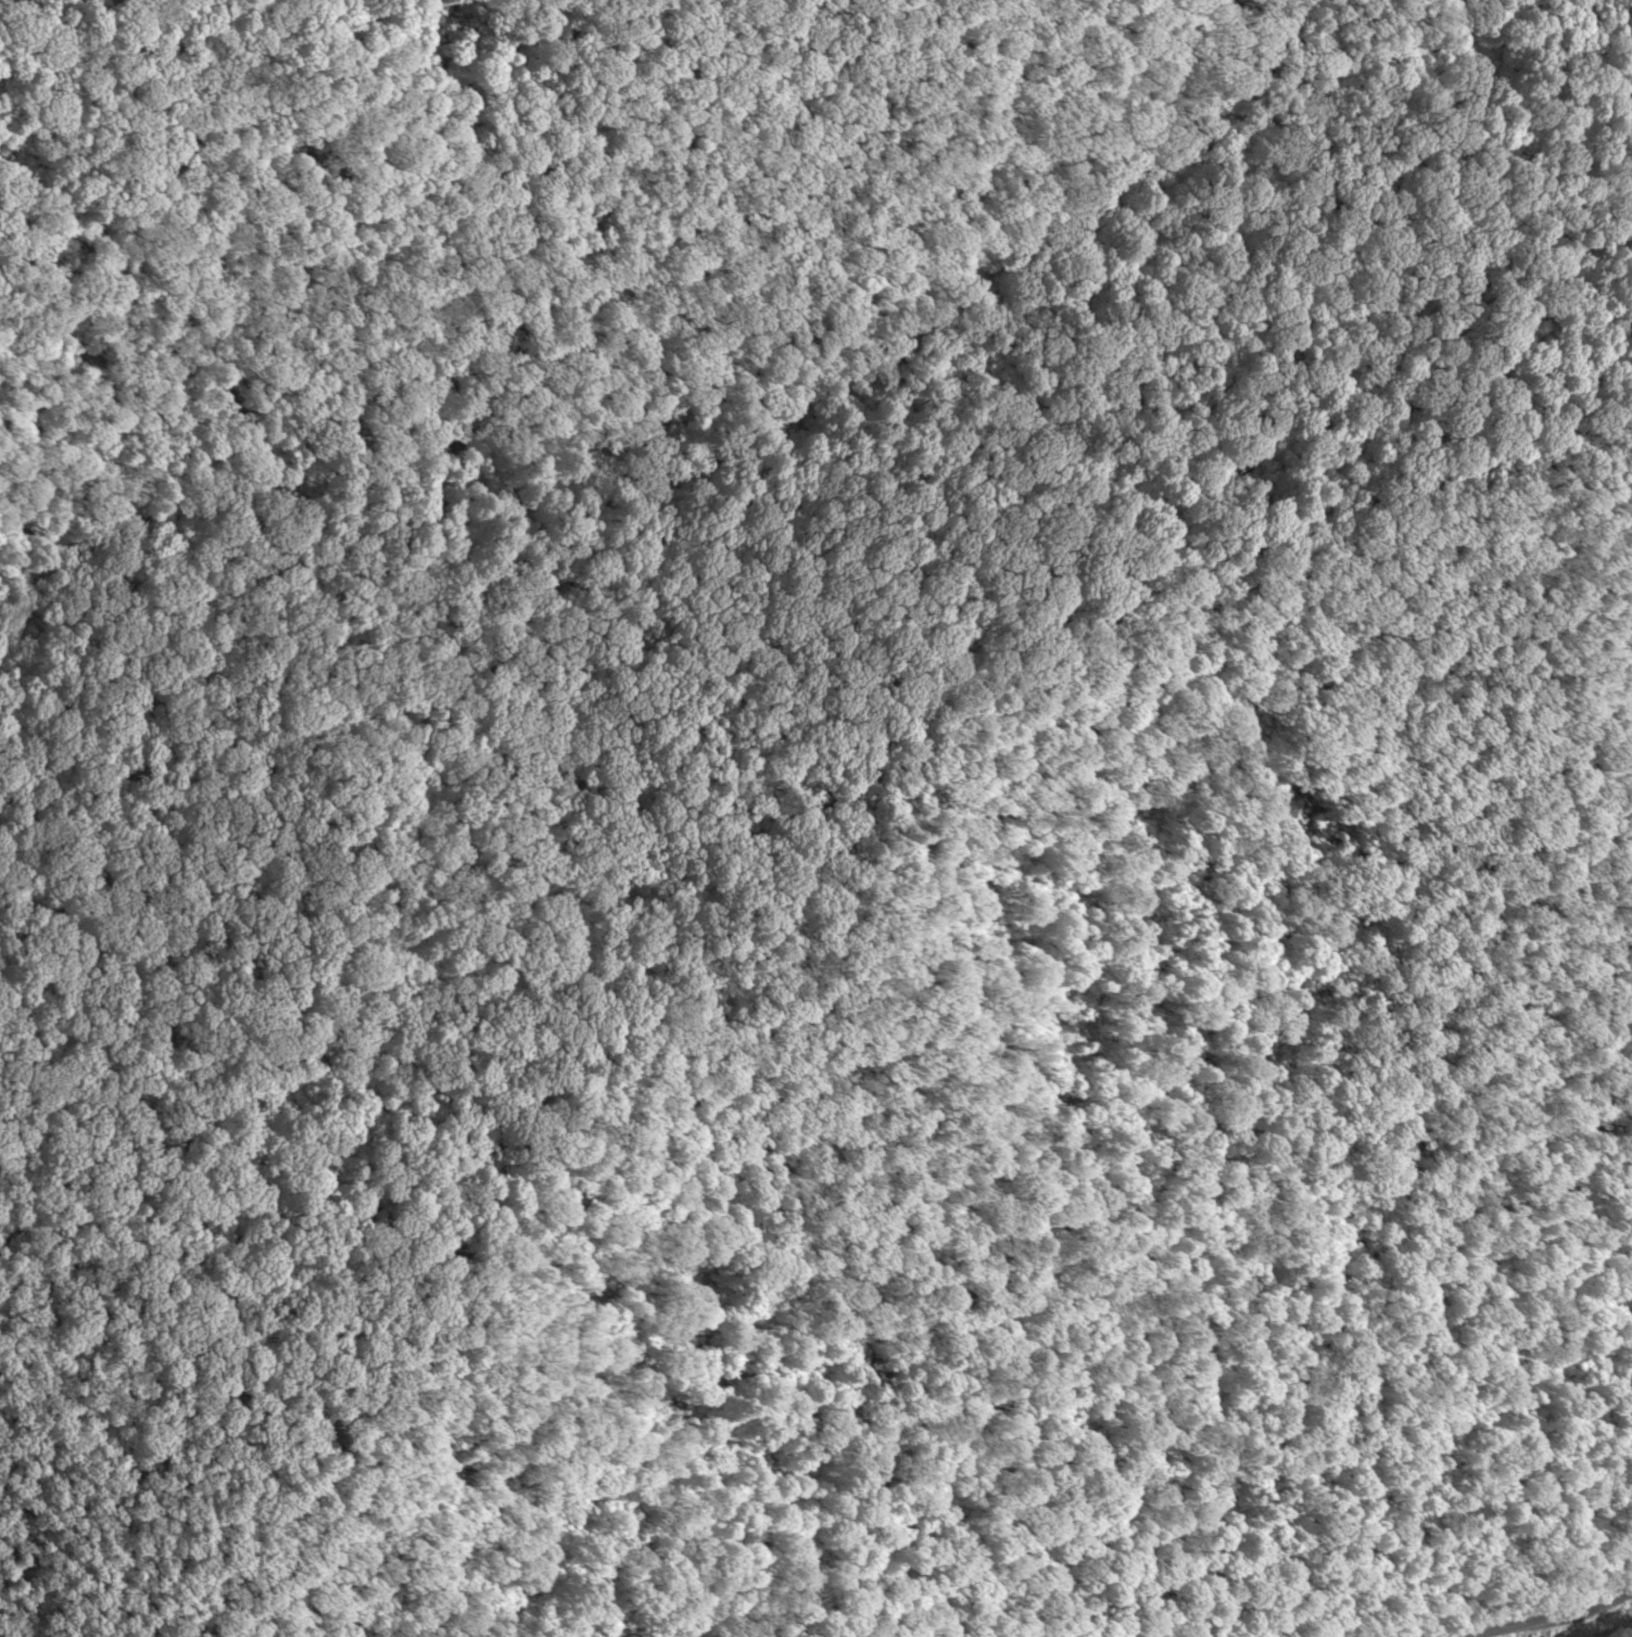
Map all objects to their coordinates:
road: (1544, 1610)

